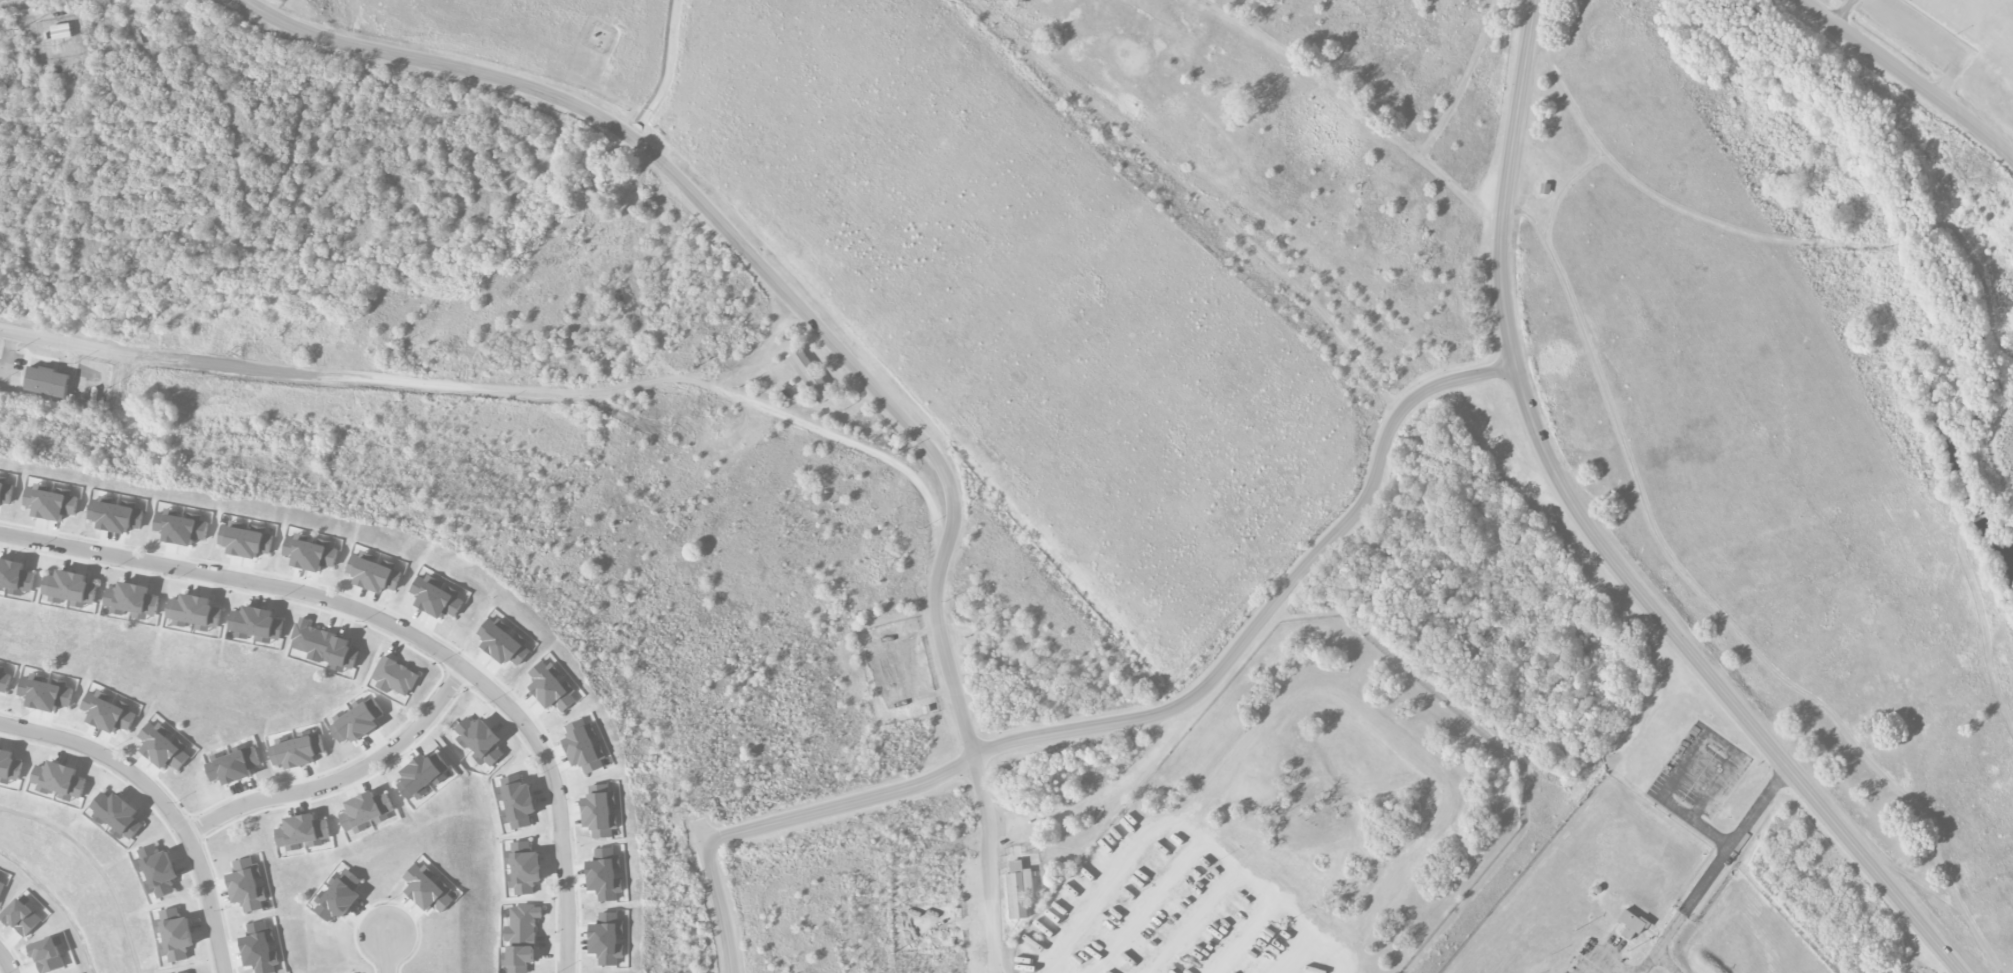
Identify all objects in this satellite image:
road: (1518, 9)
building: (61, 31)
airport: (1956, 41)
road: (1904, 78)
road: (1462, 81)
road: (1353, 106)
road: (1562, 189)
road: (1670, 204)
road: (1918, 233)
road: (1983, 283)
road: (824, 335)
road: (54, 340)
building: (809, 375)
building: (45, 382)
road: (564, 392)
road: (1993, 455)
building: (5, 492)
building: (116, 516)
road: (1979, 516)
building: (180, 528)
building: (245, 540)
road: (1597, 541)
building: (310, 553)
building: (373, 574)
building: (15, 577)
building: (69, 587)
building: (436, 597)
building: (132, 600)
road: (1715, 610)
building: (193, 612)
building: (256, 623)
road: (1983, 628)
road: (401, 629)
building: (311, 640)
building: (342, 654)
building: (394, 677)
building: (4, 680)
building: (550, 687)
building: (45, 693)
road: (1179, 705)
building: (107, 713)
building: (357, 722)
building: (479, 740)
building: (163, 747)
building: (297, 751)
road: (1693, 752)
building: (232, 764)
building: (9, 765)
building: (421, 774)
parking lot: (1698, 775)
road: (342, 779)
building: (58, 780)
road: (163, 802)
building: (517, 804)
road: (1758, 807)
building: (365, 812)
building: (599, 812)
building: (116, 815)
road: (1186, 830)
building: (301, 832)
road: (97, 866)
building: (522, 867)
building: (156, 871)
building: (604, 875)
building: (246, 885)
building: (1, 886)
building: (427, 889)
building: (1017, 889)
road: (716, 896)
building: (338, 897)
road: (1684, 910)
building: (20, 917)
building: (1630, 925)
building: (174, 935)
building: (520, 938)
building: (606, 939)
building: (259, 948)
building: (47, 954)
road: (388, 955)
road: (5, 962)
road: (1665, 962)
road: (1037, 967)
road: (1043, 967)
building: (188, 972)

